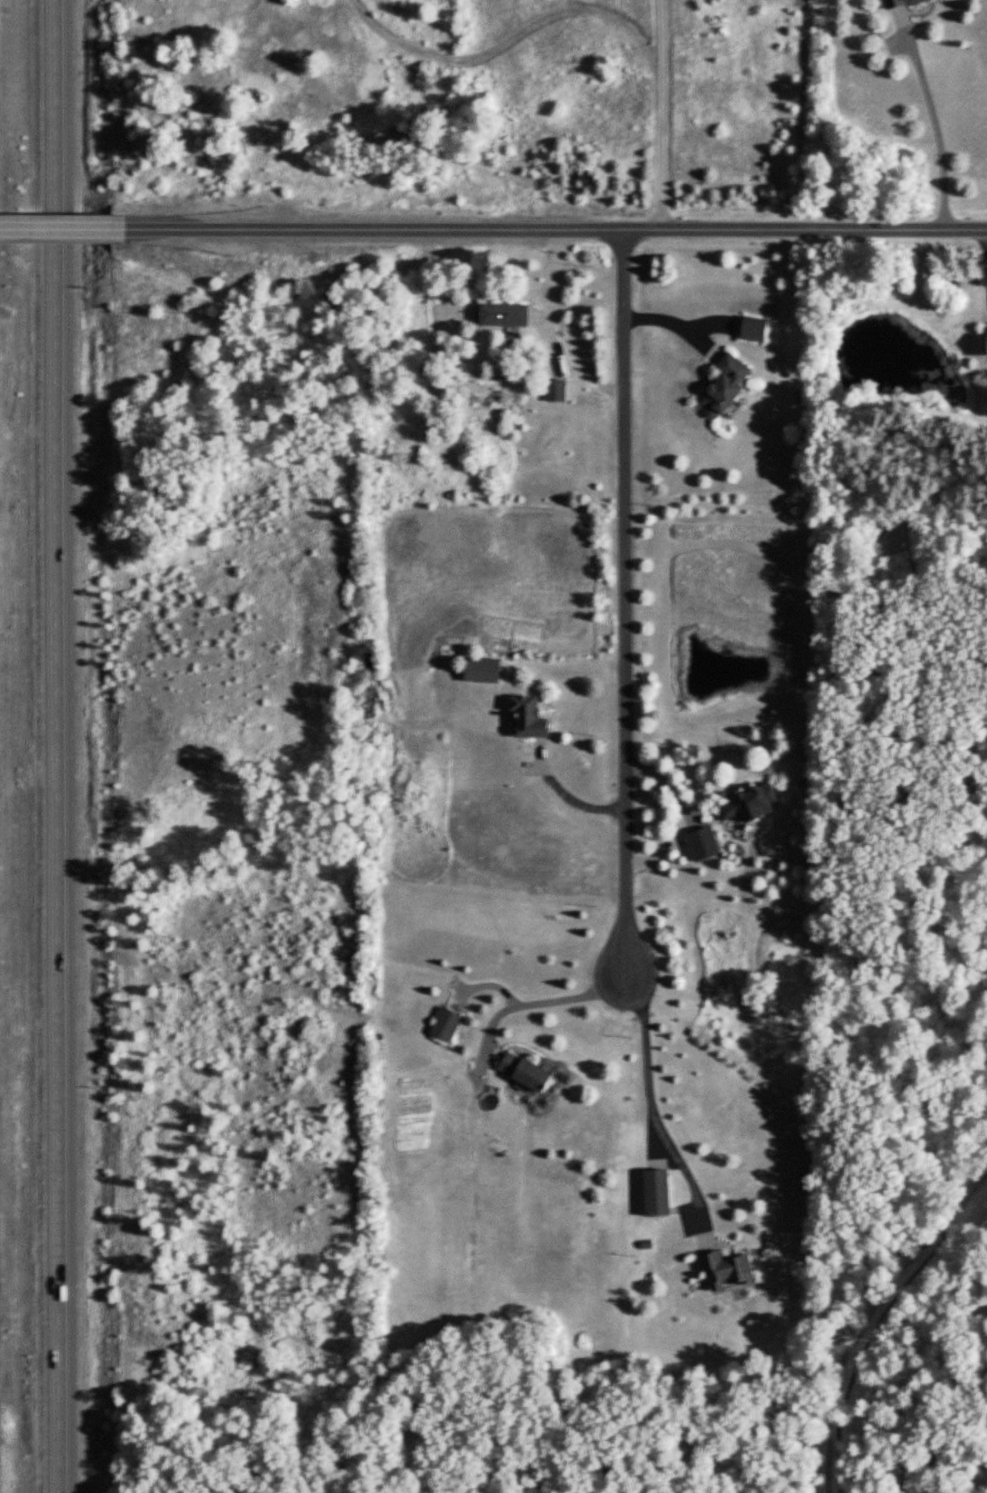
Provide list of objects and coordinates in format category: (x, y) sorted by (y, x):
building: (902, 3)
road: (666, 113)
road: (935, 130)
road: (559, 226)
road: (66, 227)
road: (548, 292)
building: (506, 314)
road: (675, 319)
building: (759, 329)
building: (732, 385)
building: (557, 389)
road: (624, 597)
building: (485, 670)
building: (529, 718)
road: (59, 746)
road: (569, 796)
building: (753, 806)
road: (685, 811)
building: (707, 844)
road: (542, 996)
building: (449, 1023)
building: (529, 1071)
road: (648, 1102)
building: (659, 1191)
building: (728, 1269)

